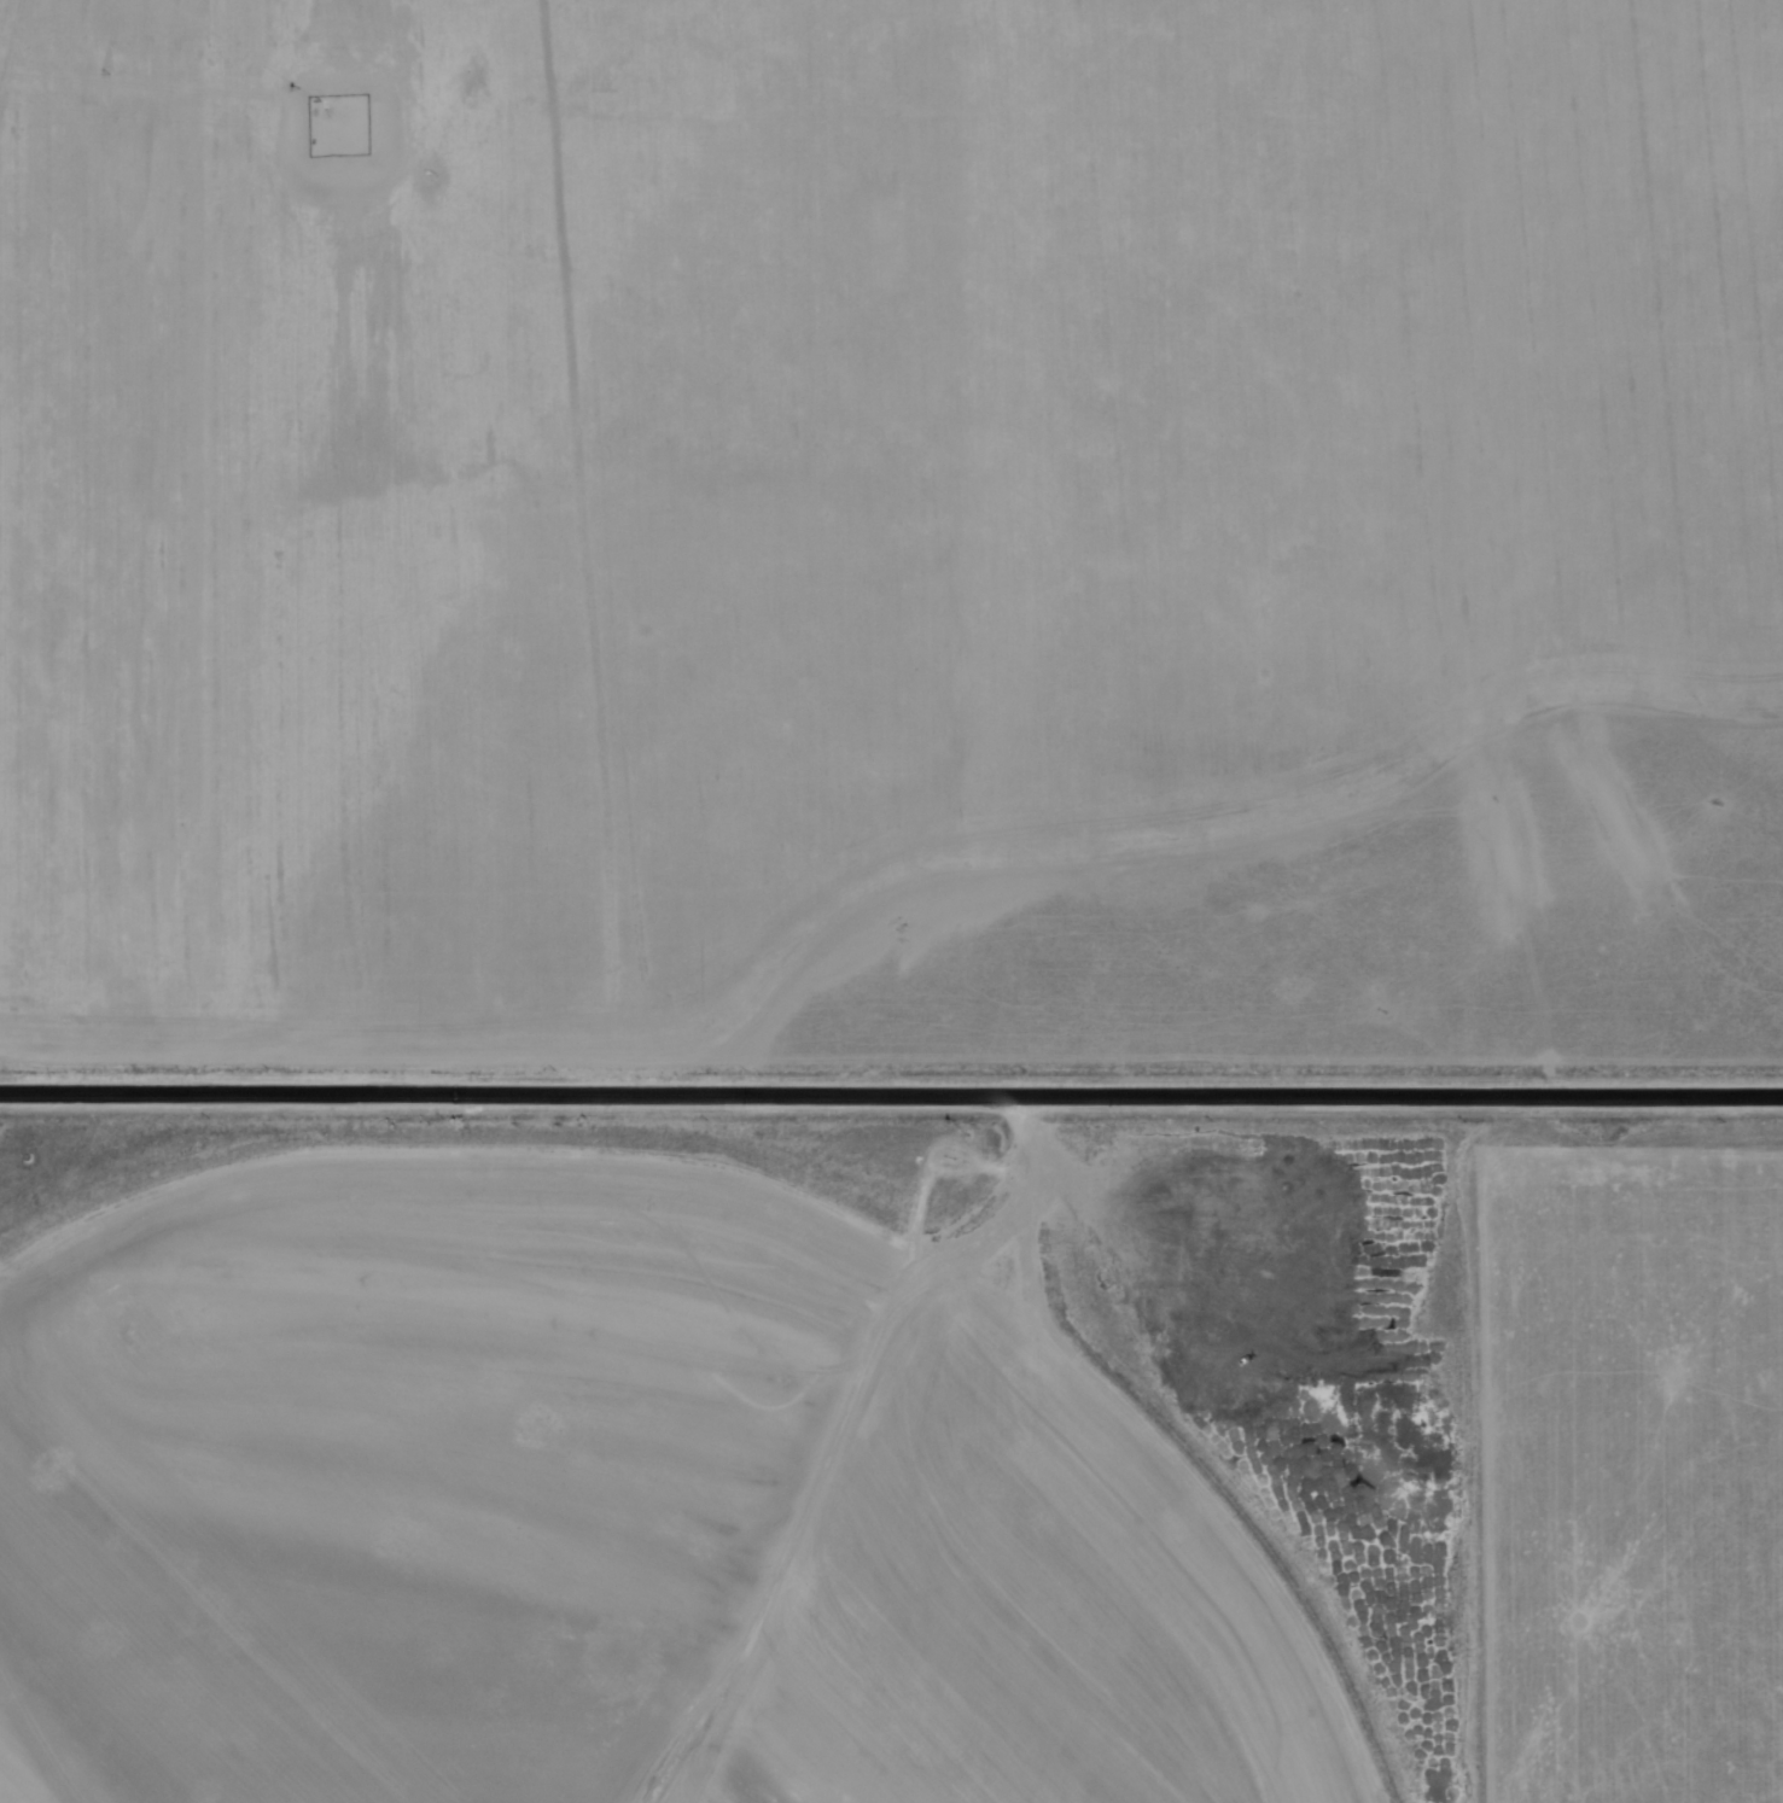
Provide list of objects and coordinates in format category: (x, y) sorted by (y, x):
road: (891, 1092)

